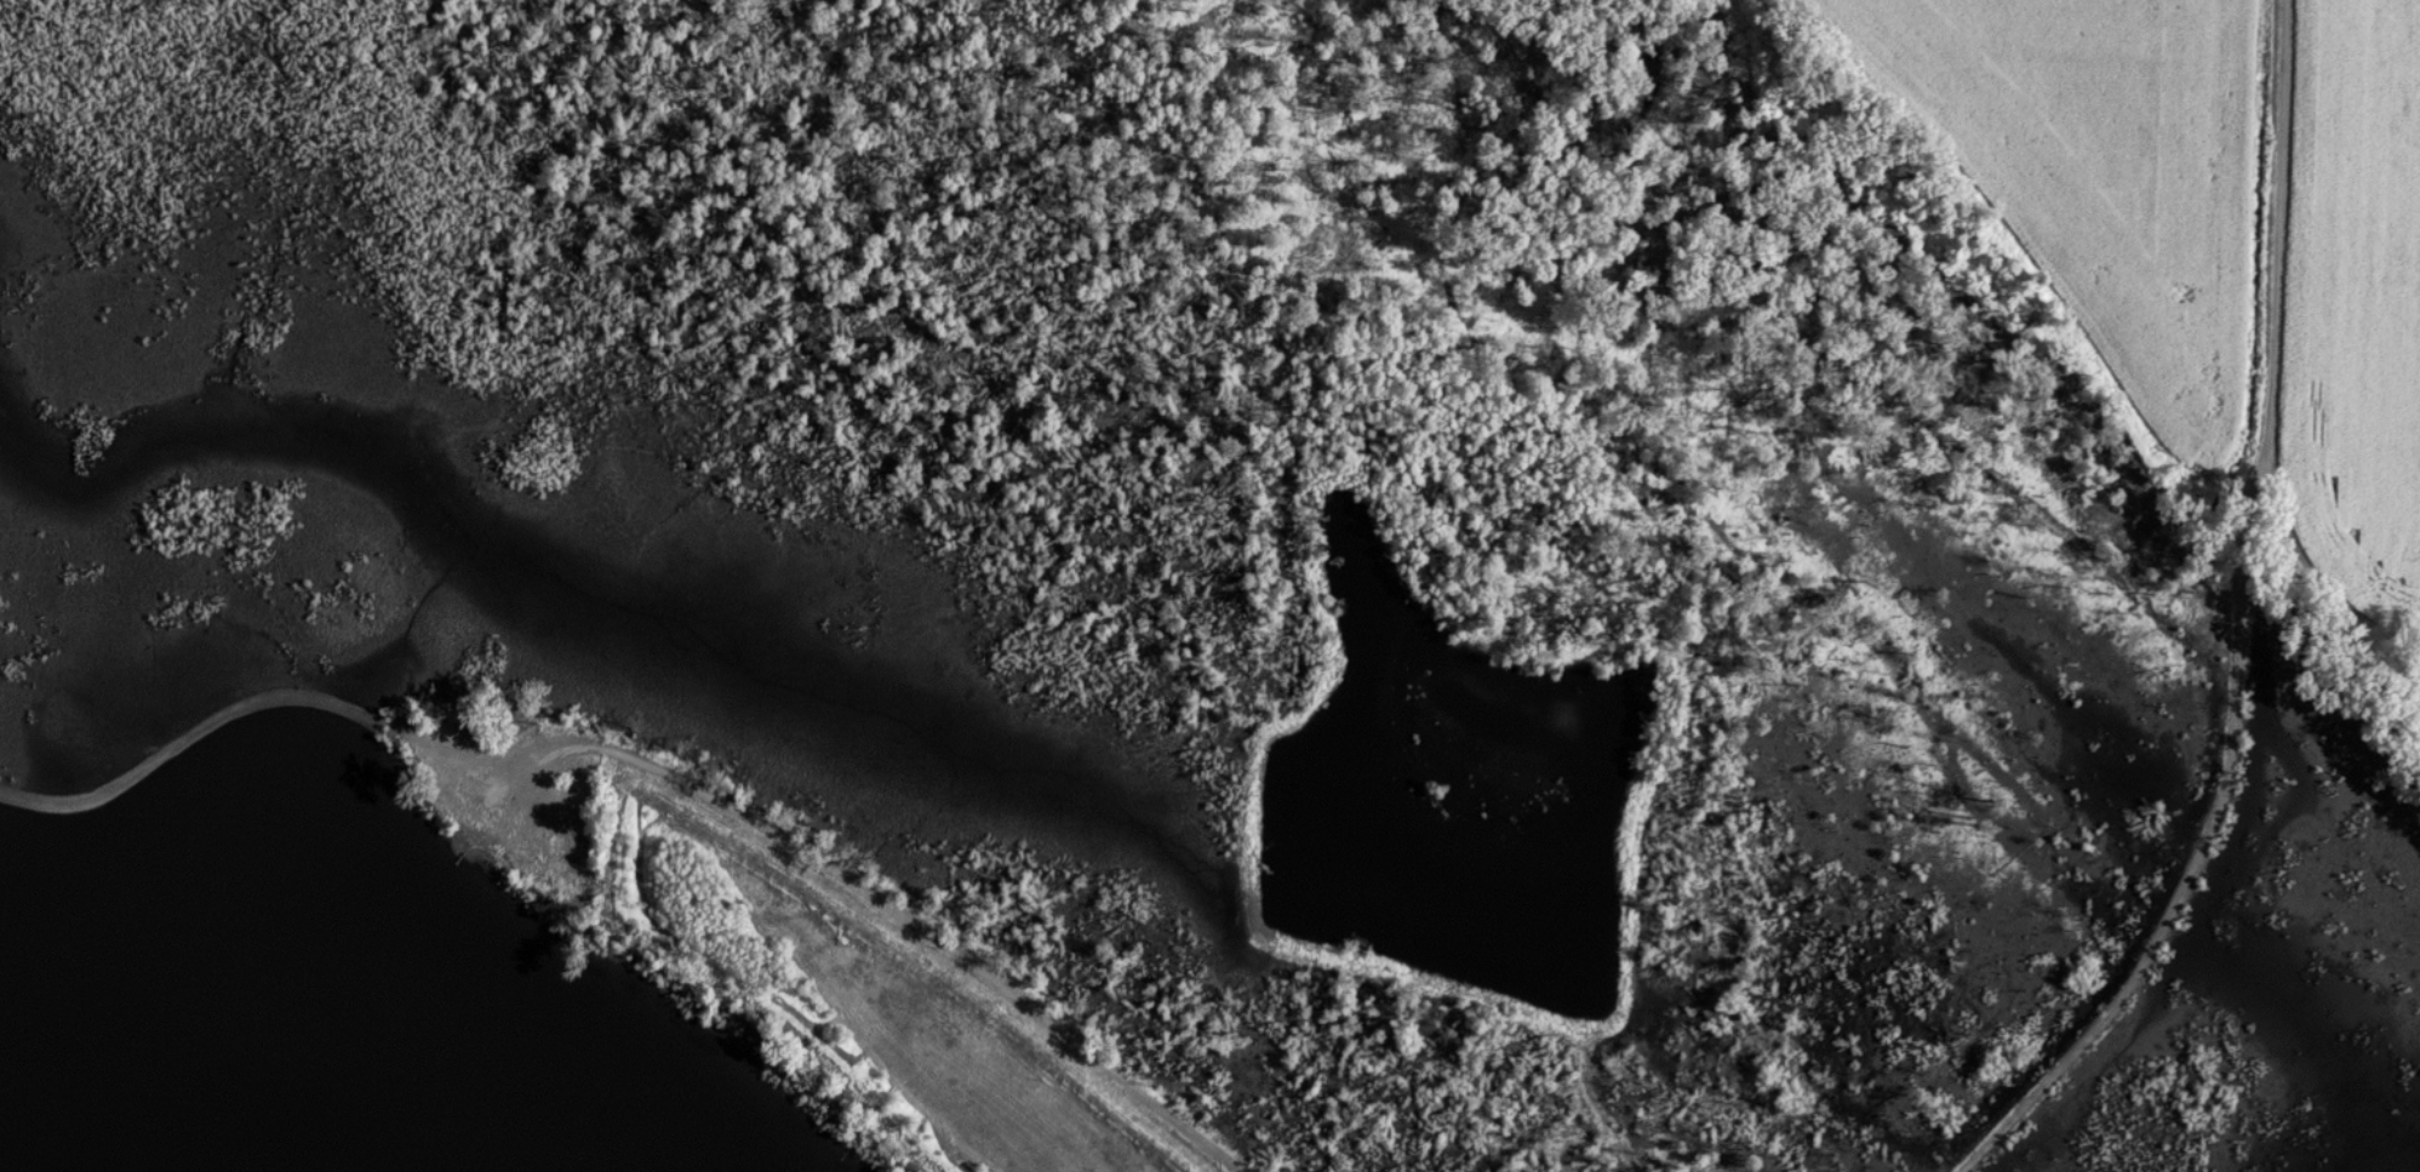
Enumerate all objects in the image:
road: (2249, 631)
building: (460, 795)

